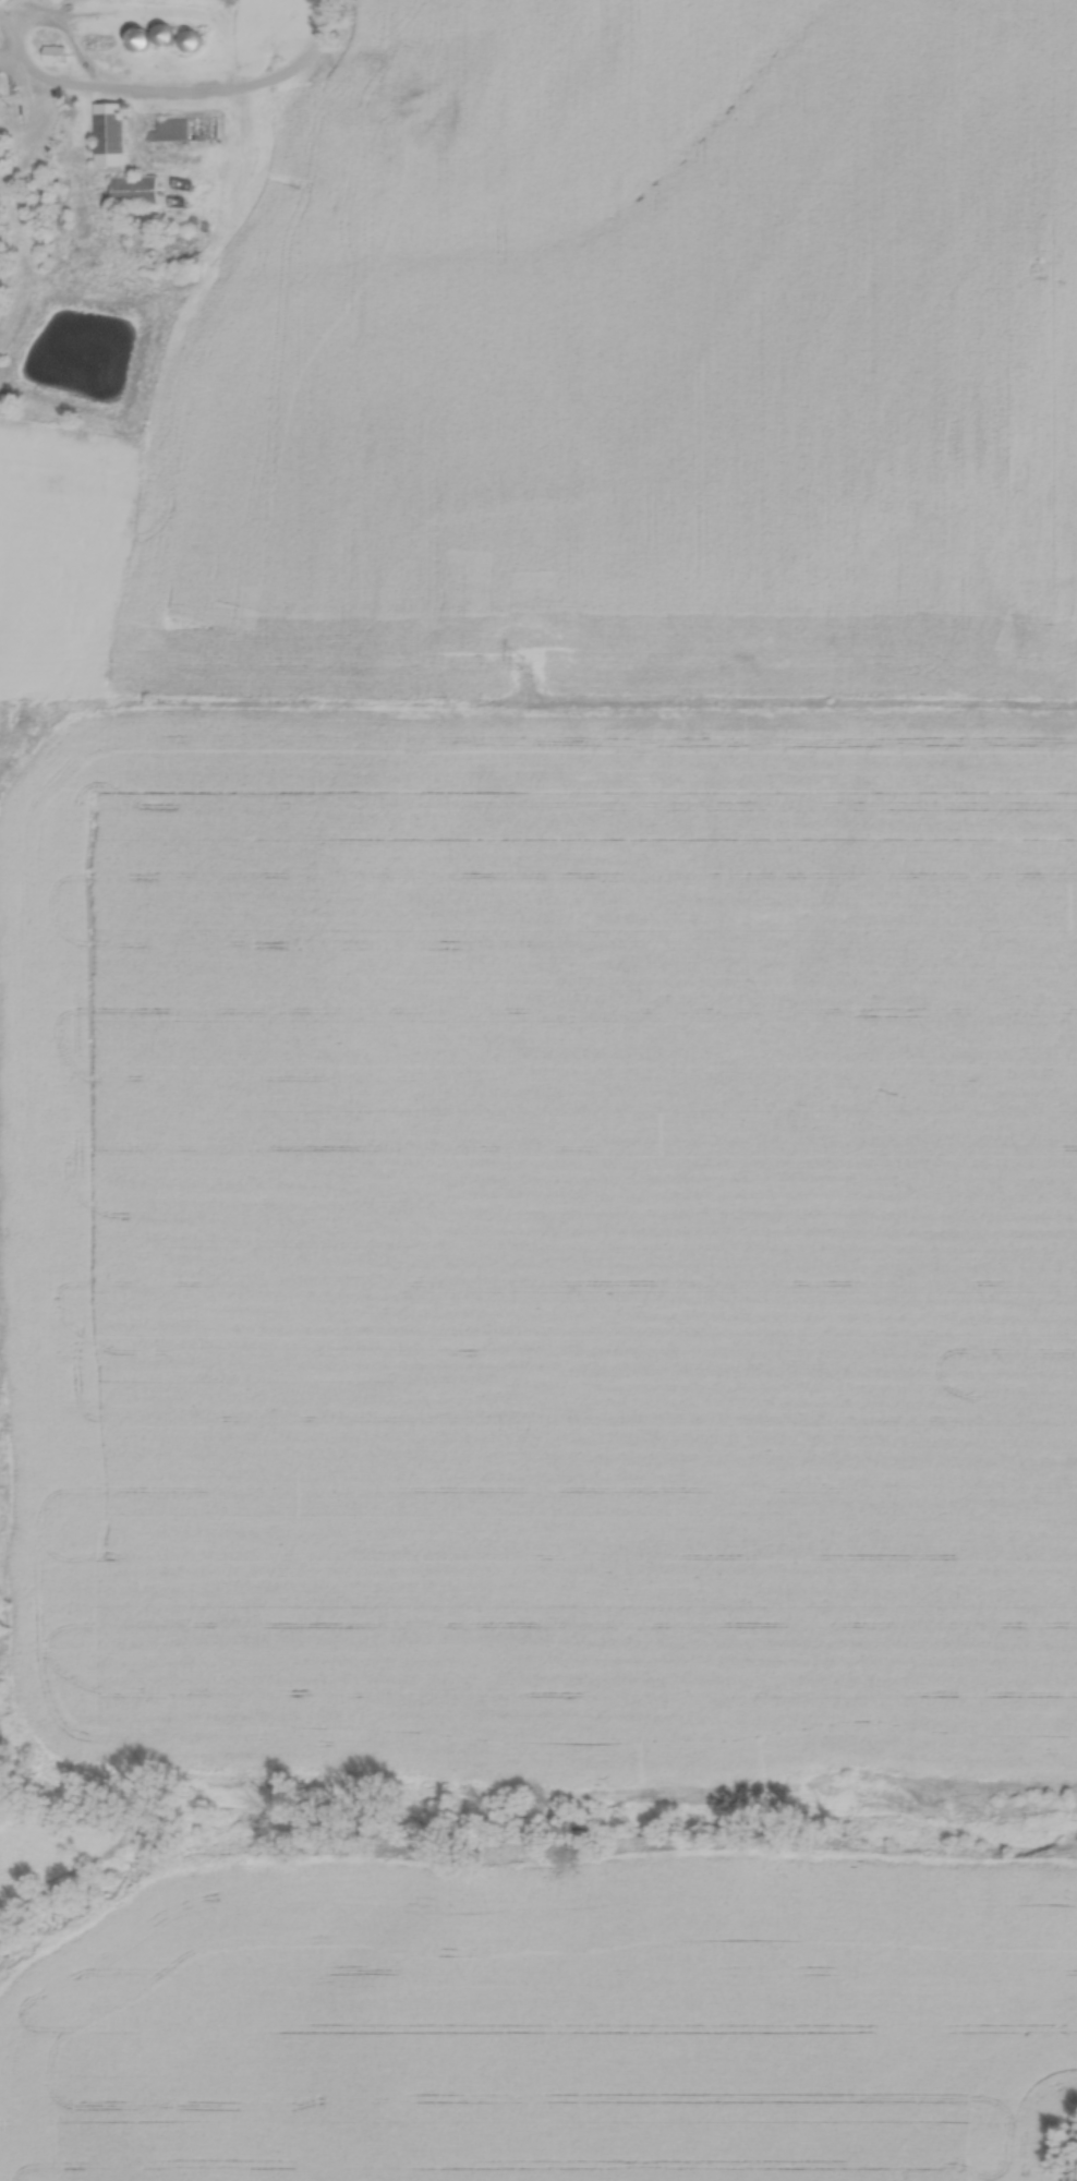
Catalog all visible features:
building: (166, 29)
building: (141, 34)
building: (192, 35)
building: (0, 77)
road: (187, 88)
building: (186, 123)
building: (109, 129)
building: (135, 185)
power tower: (522, 659)

